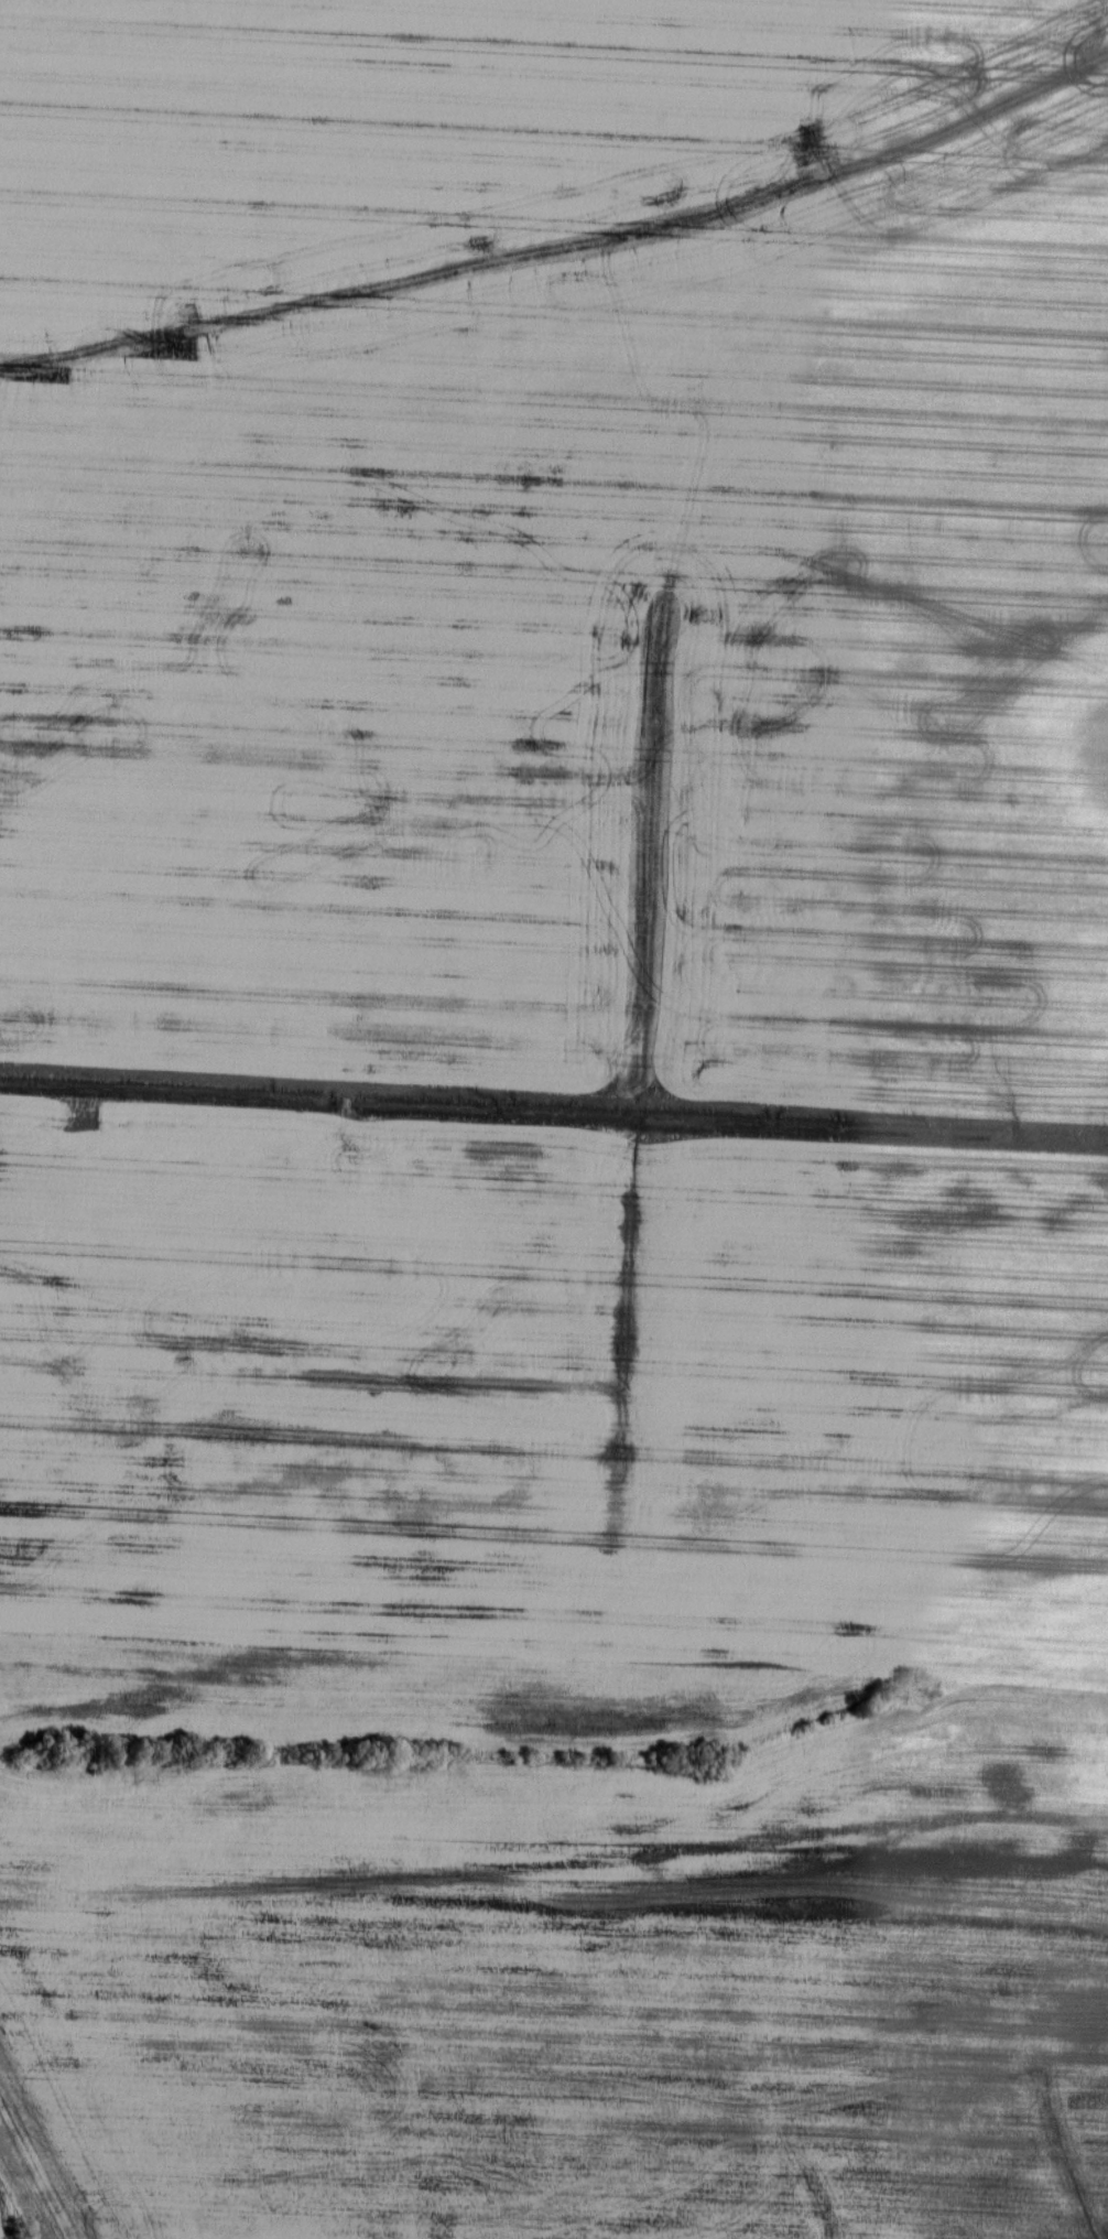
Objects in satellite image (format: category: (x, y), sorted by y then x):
road: (553, 1107)

